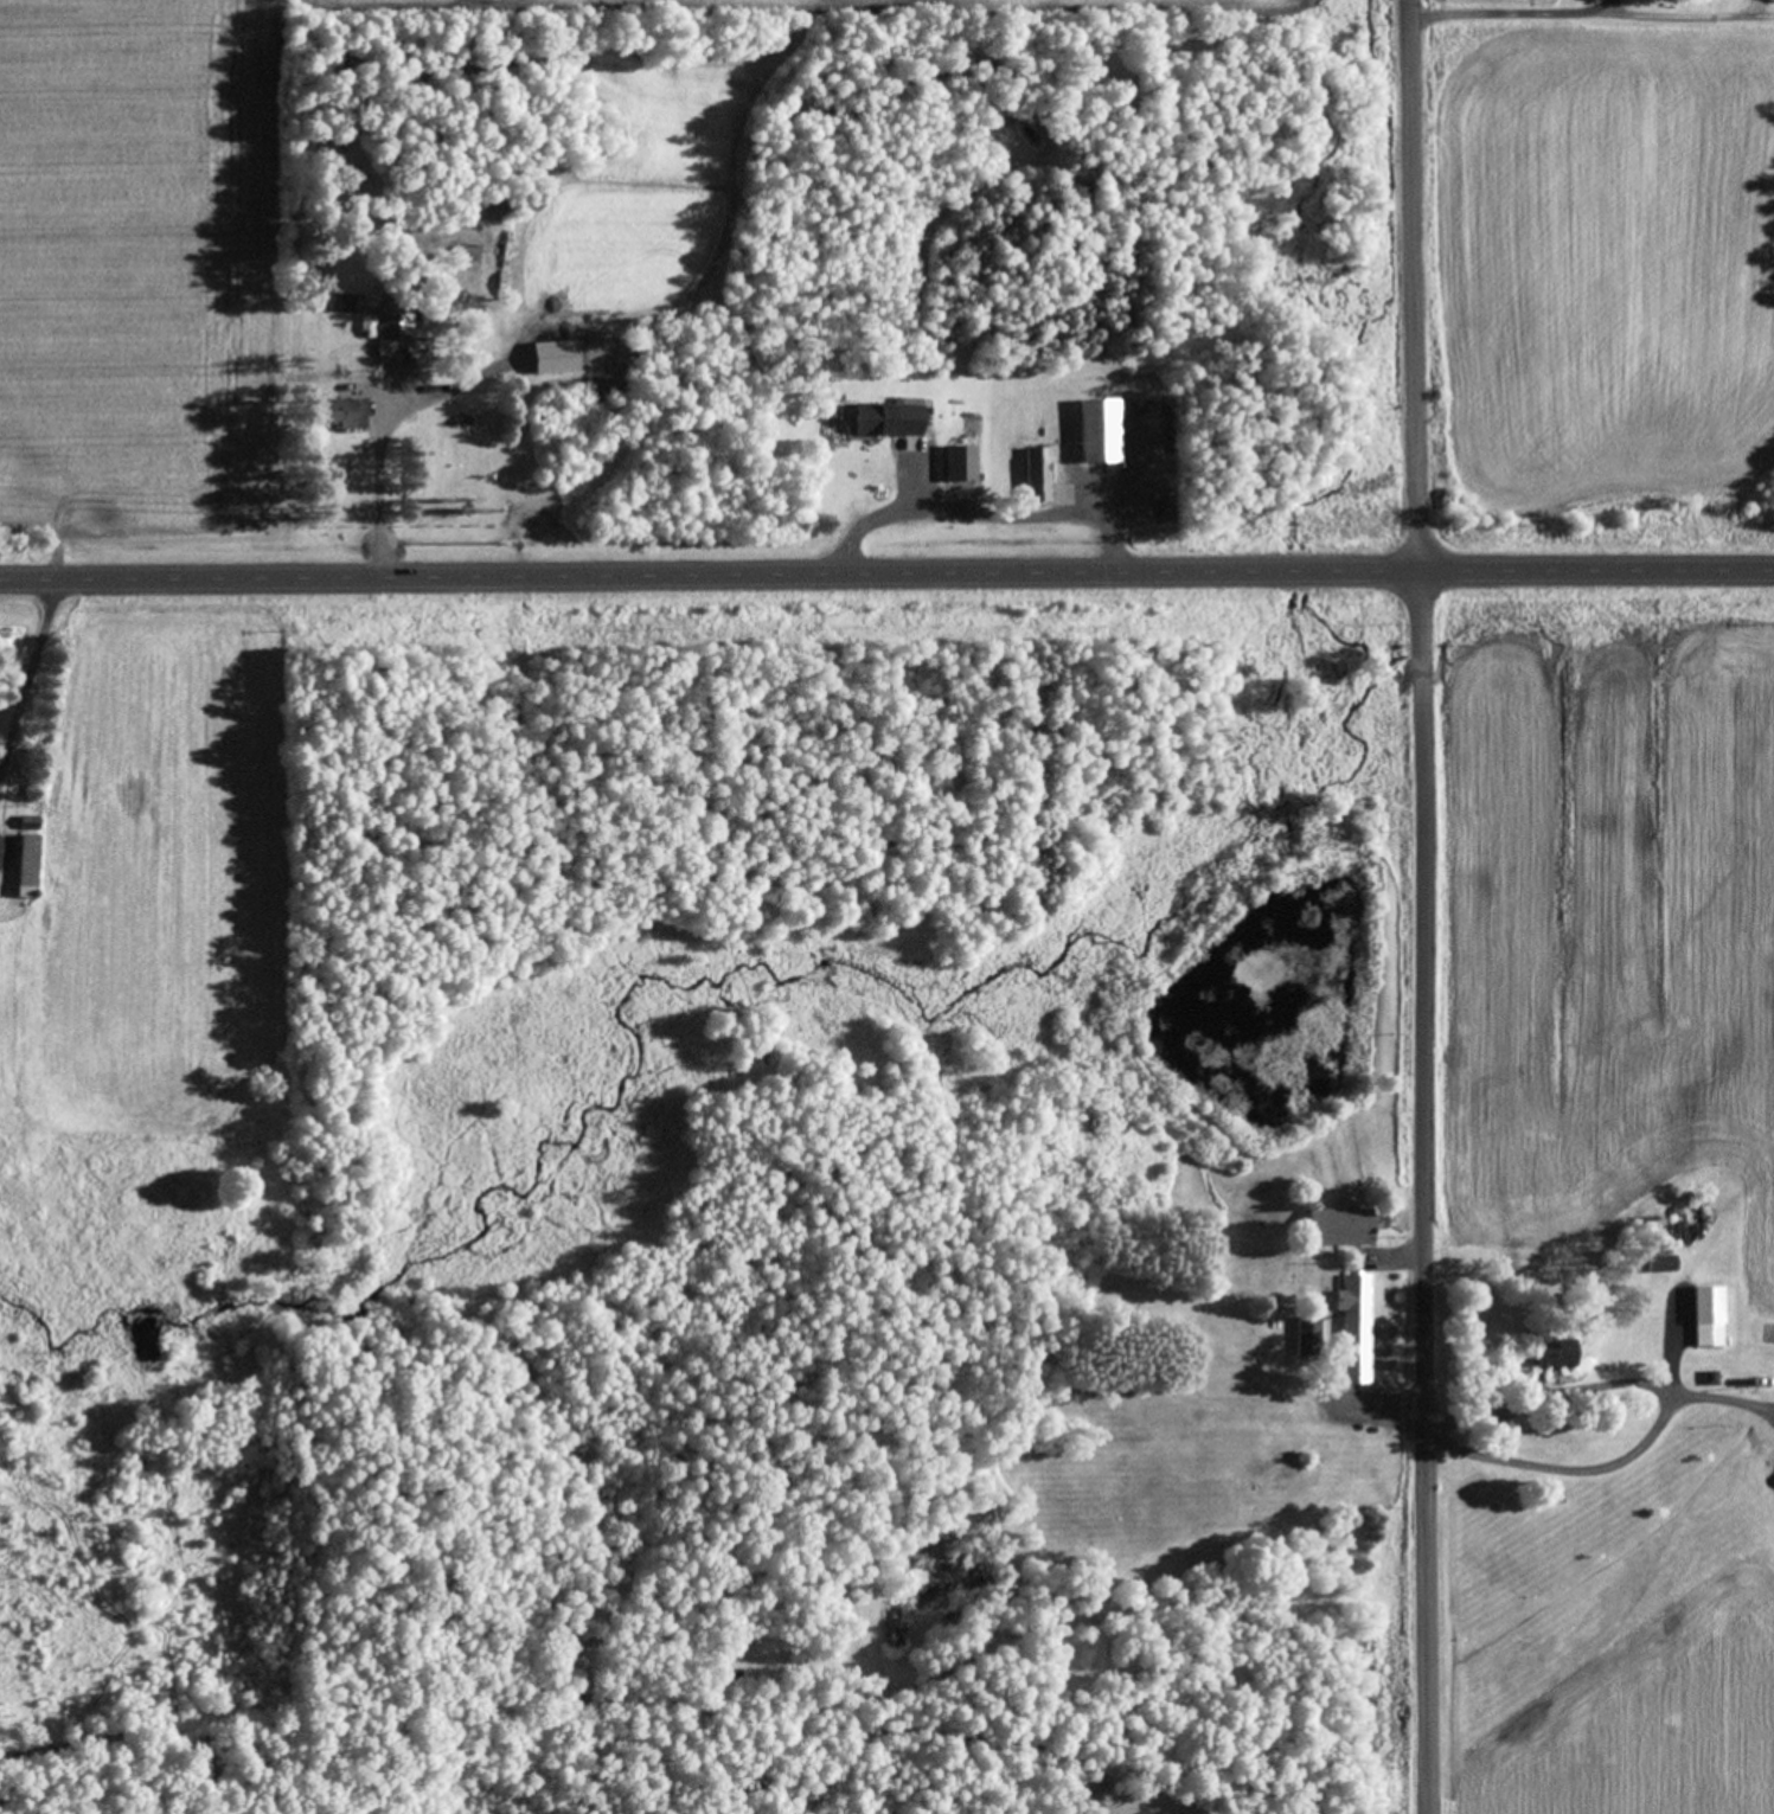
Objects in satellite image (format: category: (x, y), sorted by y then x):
building: (1770, 0)
building: (333, 416)
building: (880, 421)
building: (1090, 434)
building: (953, 466)
building: (1032, 481)
road: (886, 579)
building: (23, 868)
road: (1413, 906)
building: (1330, 1229)
building: (1650, 1265)
building: (1703, 1322)
building: (1350, 1331)
building: (1304, 1337)
building: (1217, 1377)

